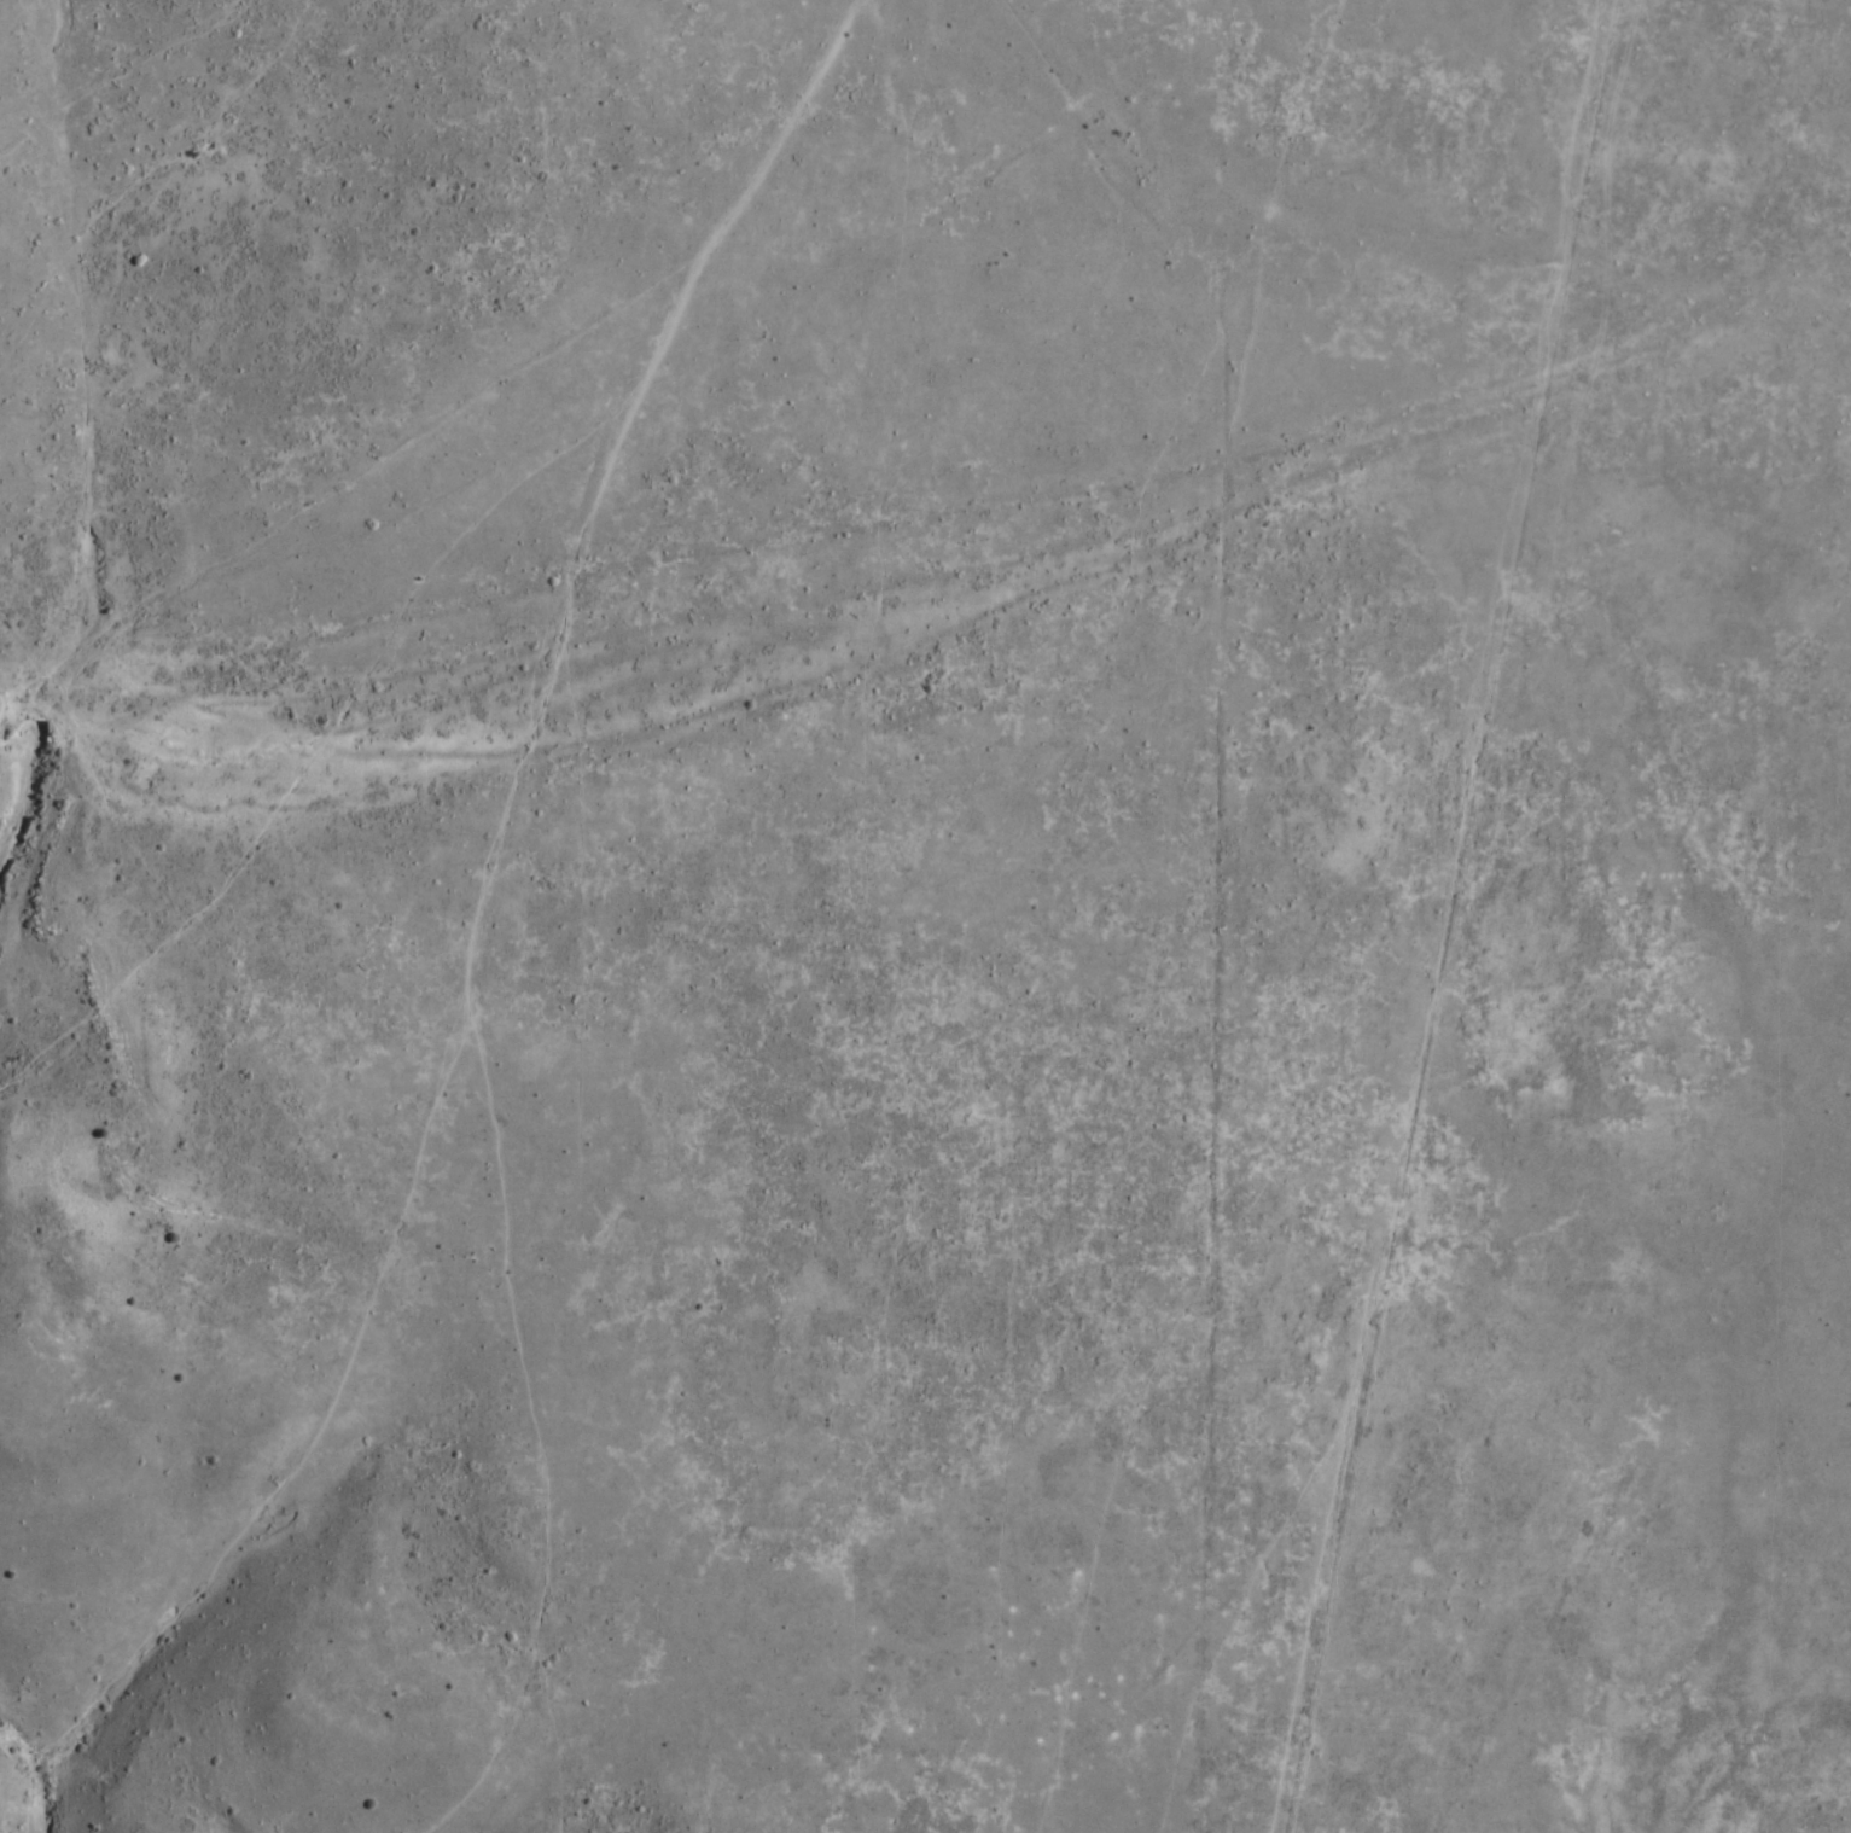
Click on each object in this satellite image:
road: (1774, 341)
road: (945, 617)

